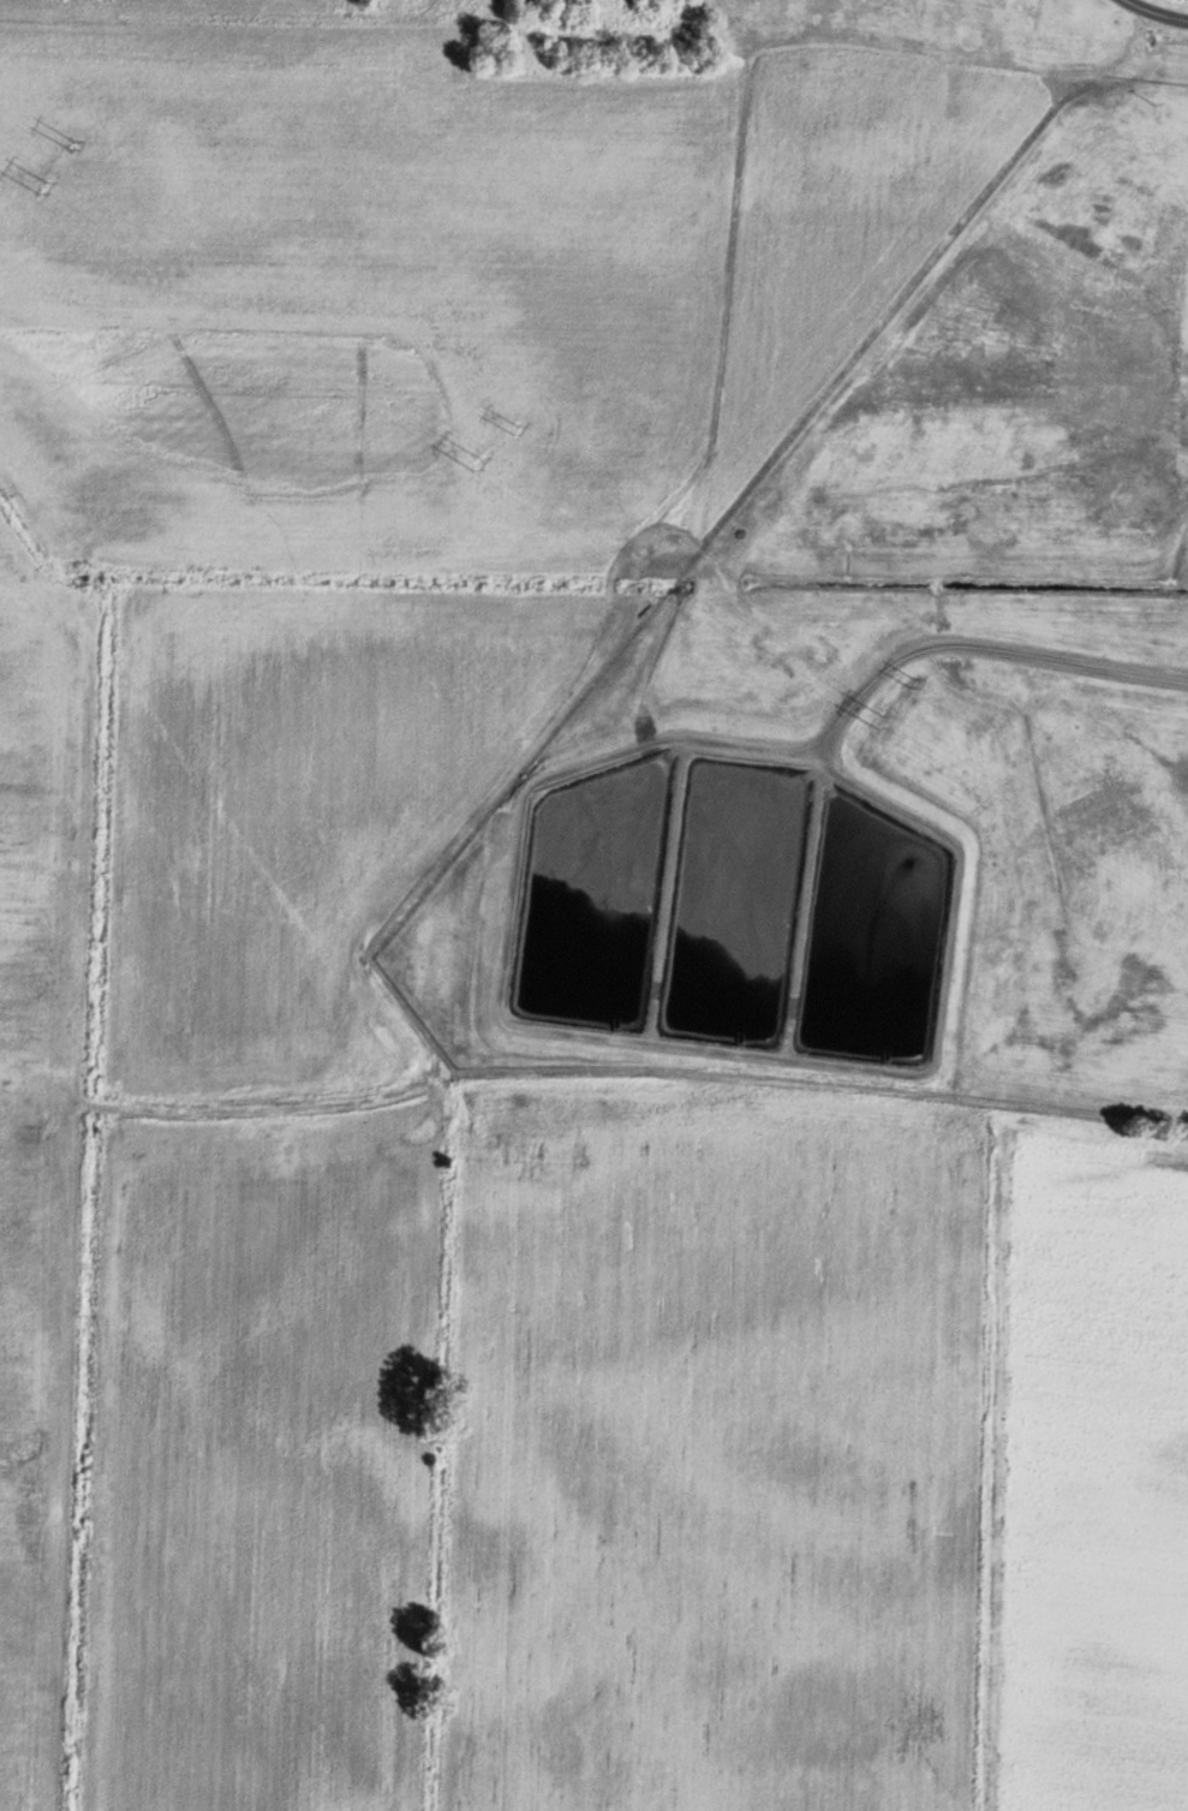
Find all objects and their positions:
building: (895, 10)
building: (764, 11)
road: (1157, 12)
building: (1022, 14)
power tower: (74, 144)
power tower: (44, 185)
power tower: (515, 429)
power tower: (477, 463)
power tower: (913, 680)
power tower: (880, 721)

